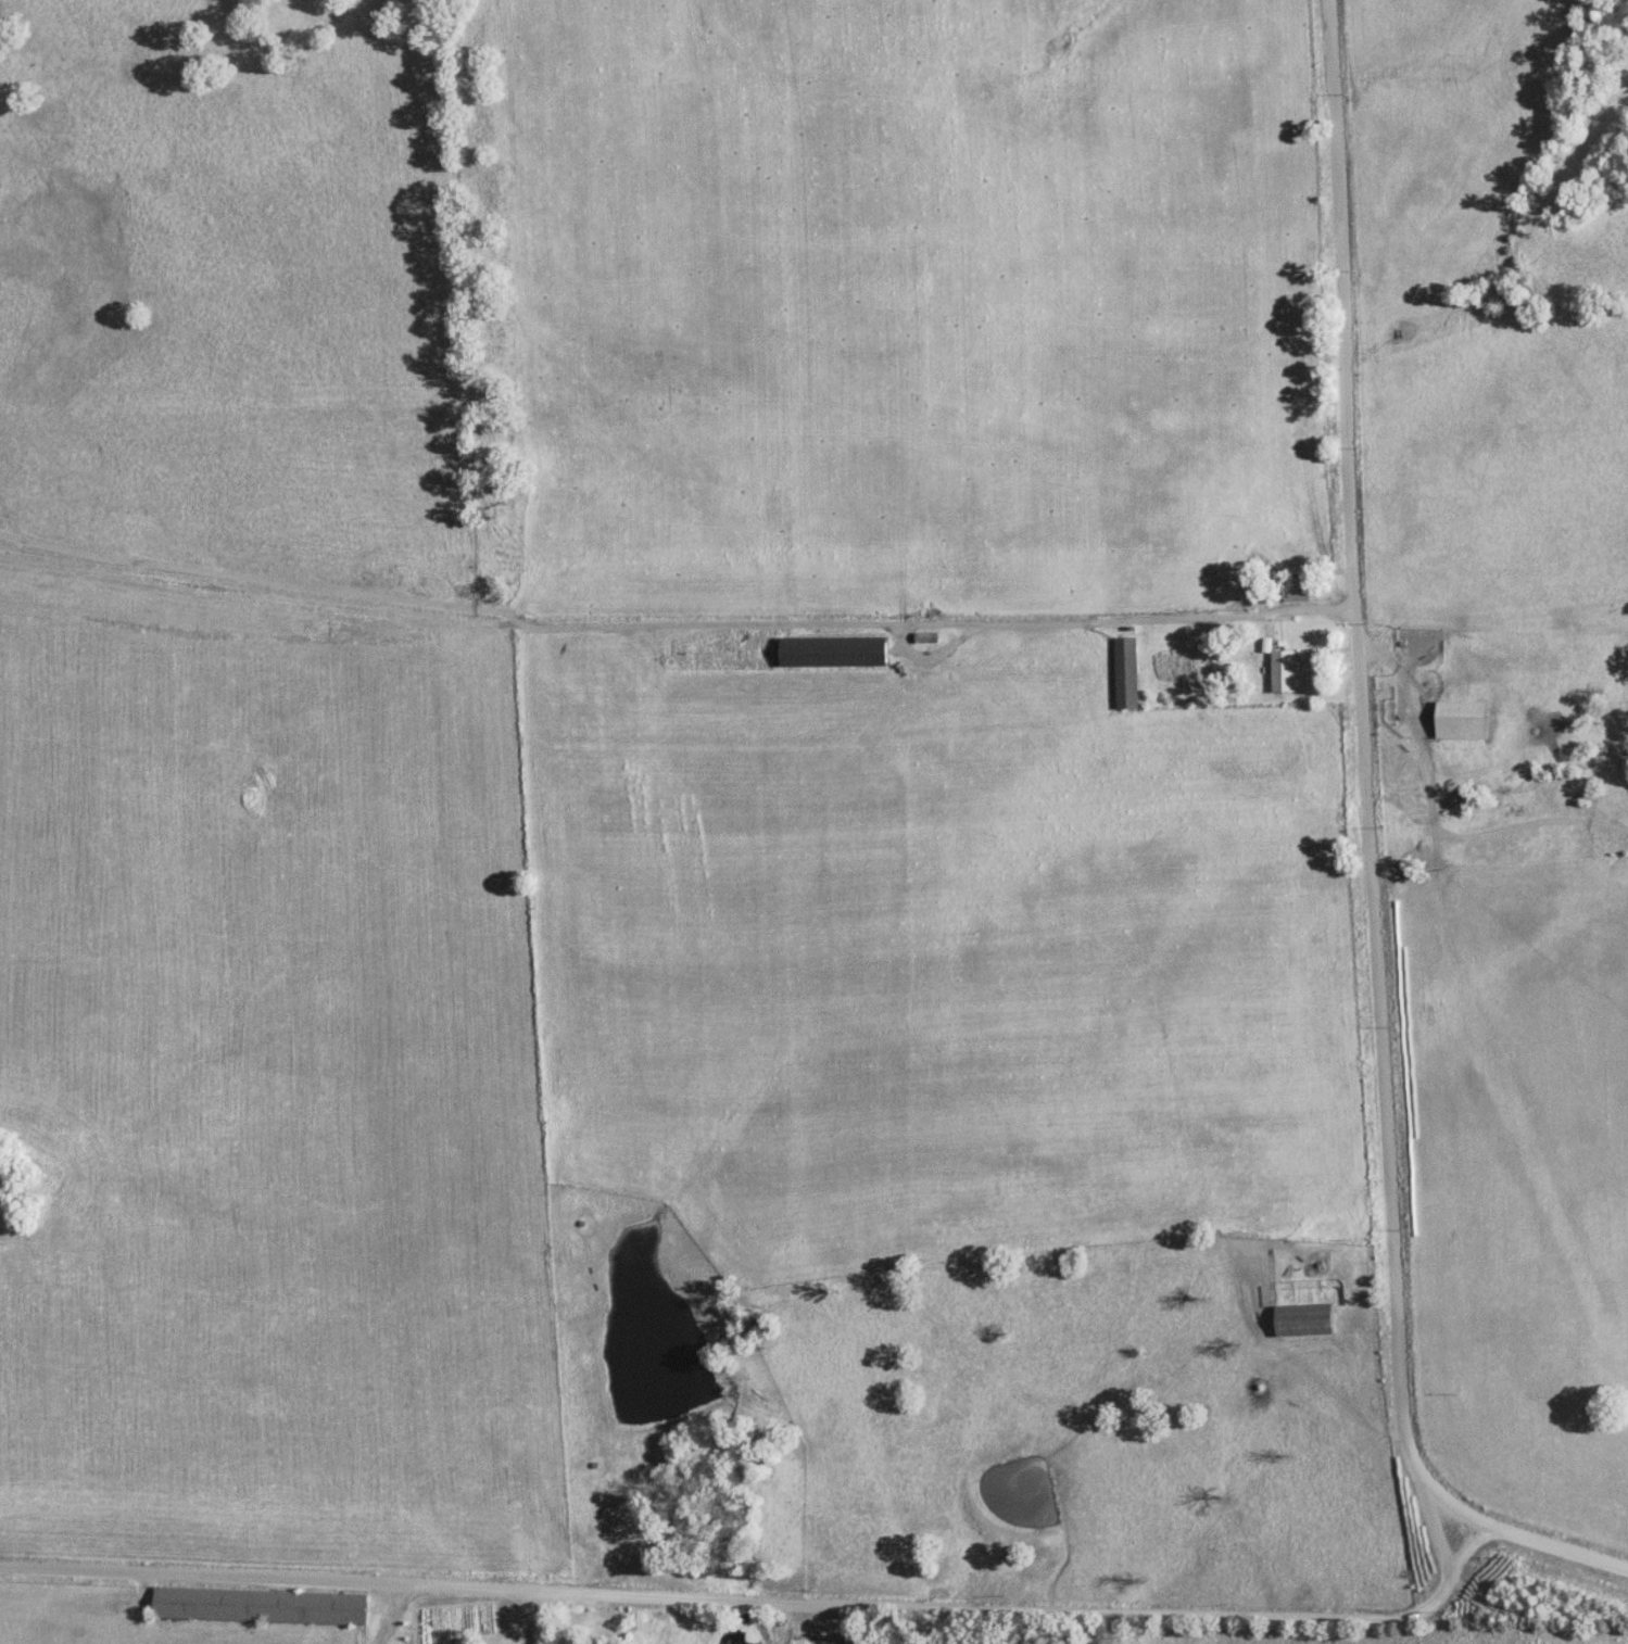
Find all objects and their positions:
building: (1293, 587)
road: (1077, 619)
building: (925, 636)
building: (833, 652)
building: (1282, 671)
building: (1123, 672)
building: (1459, 719)
road: (1372, 867)
building: (1302, 1318)
building: (257, 1604)
road: (768, 1609)
building: (802, 1637)

